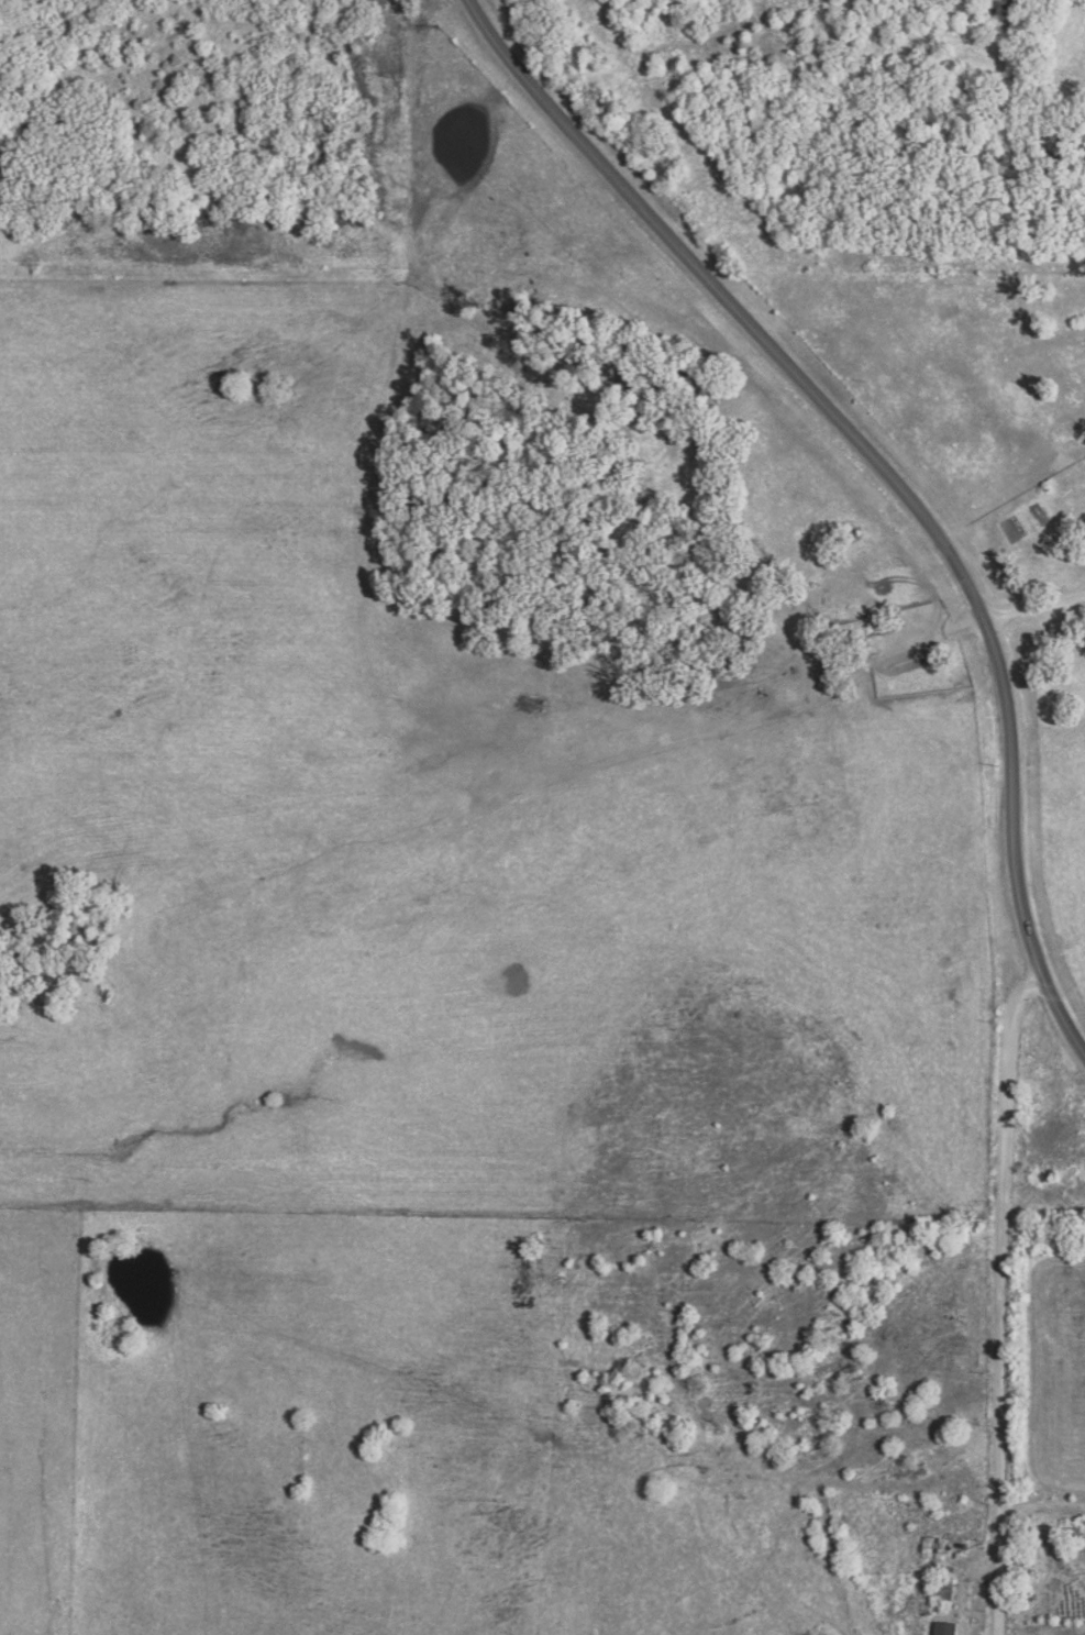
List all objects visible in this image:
road: (885, 475)
road: (1075, 588)
road: (1074, 595)
road: (1023, 608)
road: (1000, 1301)
building: (931, 1547)
building: (943, 1587)

